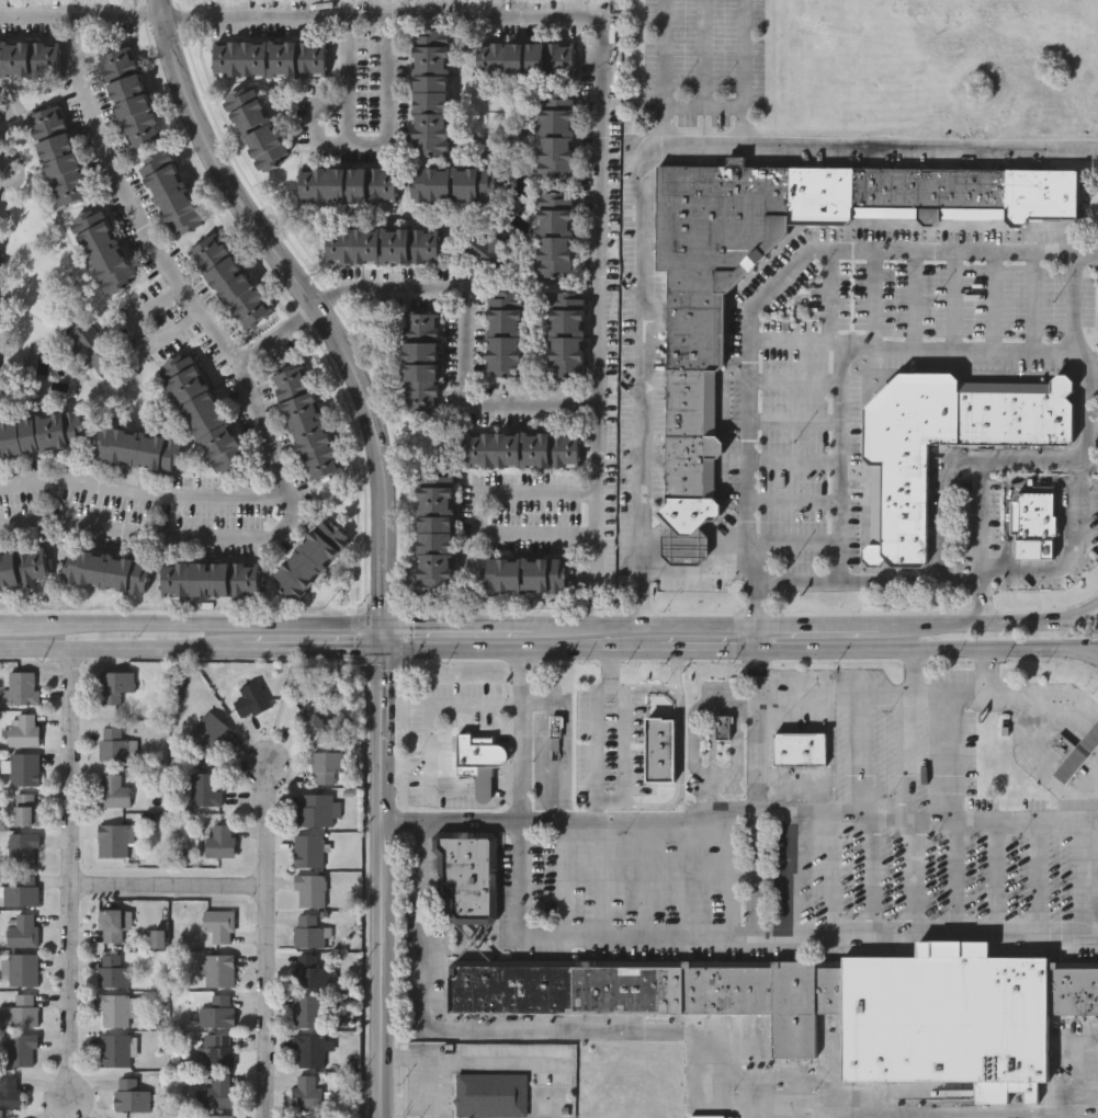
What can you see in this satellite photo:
road: (161, 7)
road: (99, 15)
road: (389, 15)
building: (29, 59)
building: (271, 59)
building: (525, 60)
road: (664, 73)
road: (743, 73)
building: (431, 93)
building: (129, 98)
building: (257, 128)
building: (557, 135)
building: (0, 141)
road: (365, 142)
building: (59, 156)
road: (638, 158)
building: (453, 184)
building: (348, 185)
building: (171, 193)
building: (929, 194)
building: (716, 221)
building: (555, 235)
building: (383, 246)
building: (103, 249)
building: (494, 251)
road: (165, 262)
building: (230, 282)
road: (769, 289)
building: (0, 293)
road: (874, 297)
road: (913, 298)
road: (952, 298)
road: (994, 299)
road: (1035, 299)
road: (597, 300)
road: (830, 300)
road: (315, 309)
road: (295, 322)
road: (144, 331)
building: (506, 334)
building: (567, 335)
road: (789, 340)
building: (90, 343)
road: (841, 347)
road: (466, 350)
building: (422, 363)
road: (794, 381)
building: (692, 390)
road: (1088, 398)
building: (203, 412)
road: (794, 417)
building: (306, 423)
building: (41, 435)
building: (137, 449)
building: (523, 450)
road: (1048, 455)
road: (795, 459)
road: (142, 492)
road: (795, 500)
building: (898, 501)
road: (480, 510)
building: (689, 513)
building: (1033, 522)
road: (159, 535)
building: (437, 537)
road: (795, 543)
building: (684, 547)
building: (312, 558)
building: (23, 568)
building: (105, 571)
road: (692, 571)
building: (524, 575)
building: (211, 579)
road: (910, 581)
road: (595, 612)
road: (1069, 619)
road: (959, 624)
road: (1068, 624)
road: (5, 625)
road: (197, 625)
road: (815, 625)
road: (642, 626)
traffic signals: (384, 627)
road: (432, 627)
road: (507, 627)
road: (752, 638)
road: (107, 650)
road: (1076, 650)
road: (299, 651)
traffic signals: (384, 651)
road: (708, 651)
road: (905, 651)
road: (521, 652)
road: (1076, 654)
road: (677, 669)
building: (114, 684)
building: (22, 686)
road: (1019, 696)
building: (251, 697)
road: (950, 698)
road: (859, 699)
road: (540, 705)
road: (427, 708)
building: (312, 721)
road: (567, 721)
building: (722, 729)
building: (24, 730)
building: (208, 730)
road: (521, 737)
road: (678, 737)
road: (693, 738)
building: (114, 744)
building: (659, 749)
building: (801, 749)
building: (1074, 753)
road: (861, 760)
road: (915, 760)
road: (950, 760)
building: (479, 761)
road: (1042, 764)
building: (326, 765)
building: (24, 768)
building: (204, 788)
building: (112, 790)
road: (756, 794)
road: (432, 795)
road: (484, 796)
road: (506, 796)
road: (599, 797)
building: (22, 809)
building: (317, 809)
road: (600, 812)
road: (273, 815)
road: (739, 821)
building: (114, 840)
building: (220, 841)
building: (21, 847)
building: (308, 849)
road: (78, 869)
road: (176, 872)
road: (382, 872)
building: (468, 877)
road: (871, 877)
road: (558, 878)
road: (600, 878)
road: (682, 878)
road: (916, 878)
road: (955, 878)
road: (996, 878)
road: (1040, 878)
road: (1077, 878)
road: (639, 879)
road: (795, 879)
road: (830, 879)
parking lot: (783, 883)
road: (520, 885)
building: (20, 889)
building: (309, 890)
building: (219, 924)
building: (111, 925)
building: (21, 931)
building: (308, 931)
road: (802, 937)
building: (22, 969)
building: (111, 969)
building: (219, 970)
building: (310, 970)
building: (1073, 991)
building: (661, 993)
road: (270, 995)
building: (113, 1009)
building: (307, 1009)
building: (22, 1011)
building: (217, 1011)
building: (949, 1019)
road: (569, 1029)
building: (20, 1050)
building: (114, 1050)
building: (218, 1050)
building: (309, 1050)
road: (427, 1065)
building: (218, 1091)
building: (307, 1091)
building: (9, 1092)
building: (129, 1095)
building: (490, 1096)
road: (964, 1110)
building: (218, 1116)

